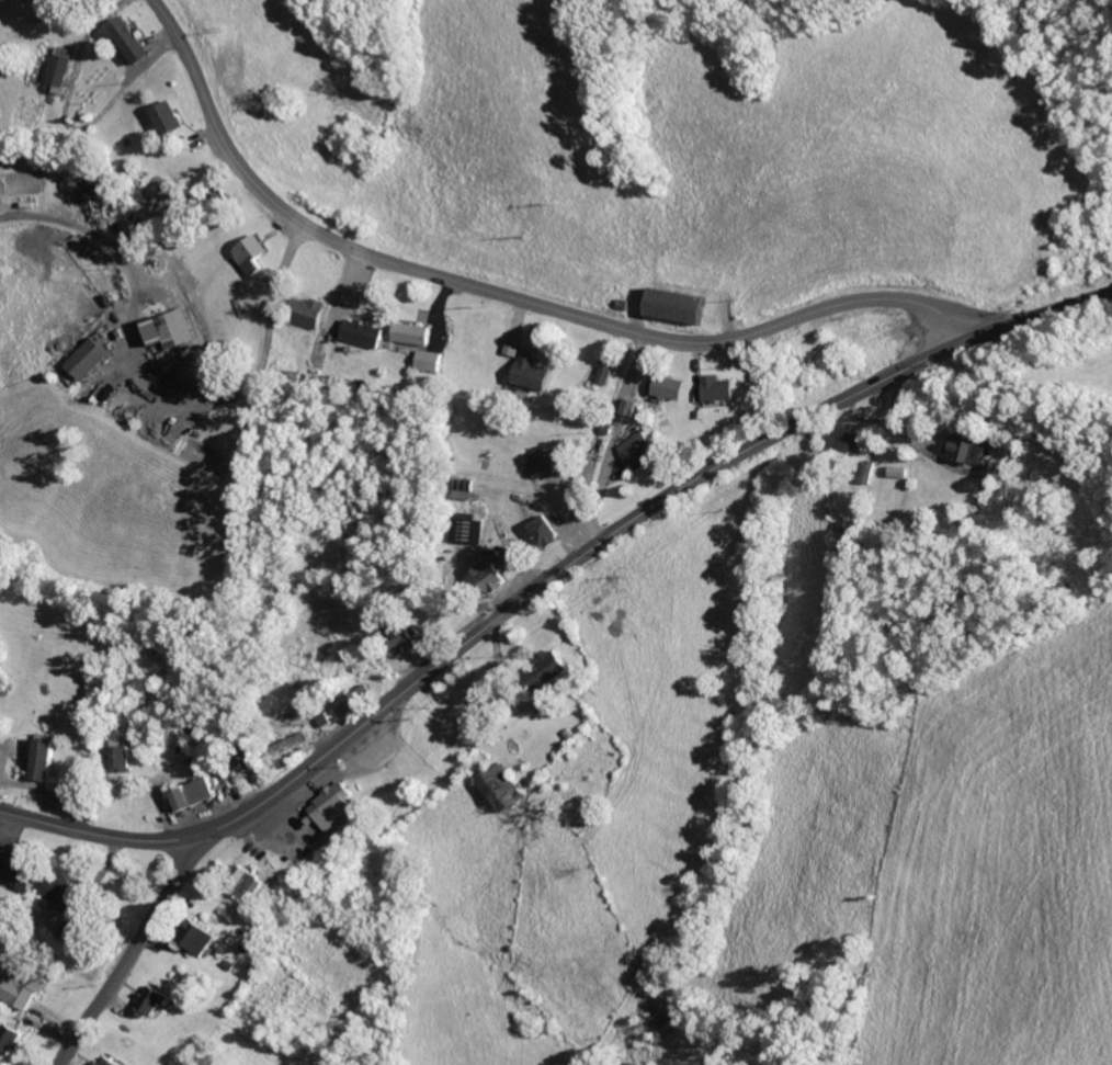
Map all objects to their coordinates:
building: (129, 41)
building: (55, 66)
building: (49, 89)
building: (167, 118)
building: (251, 254)
road: (496, 296)
building: (681, 306)
building: (310, 313)
building: (168, 329)
building: (364, 333)
building: (412, 333)
building: (510, 347)
building: (83, 359)
building: (430, 361)
building: (531, 374)
building: (603, 375)
building: (670, 388)
building: (719, 388)
building: (627, 407)
road: (614, 433)
building: (853, 445)
building: (965, 447)
building: (638, 451)
building: (546, 461)
building: (463, 529)
building: (544, 531)
building: (490, 571)
road: (548, 580)
building: (406, 637)
building: (555, 667)
building: (297, 743)
building: (47, 757)
building: (121, 758)
building: (247, 763)
building: (506, 786)
building: (201, 793)
building: (339, 807)
building: (27, 873)
building: (256, 883)
building: (71, 894)
building: (206, 936)
road: (126, 944)
building: (31, 984)
building: (159, 1000)
building: (14, 1038)
building: (113, 1062)
building: (1, 1063)

